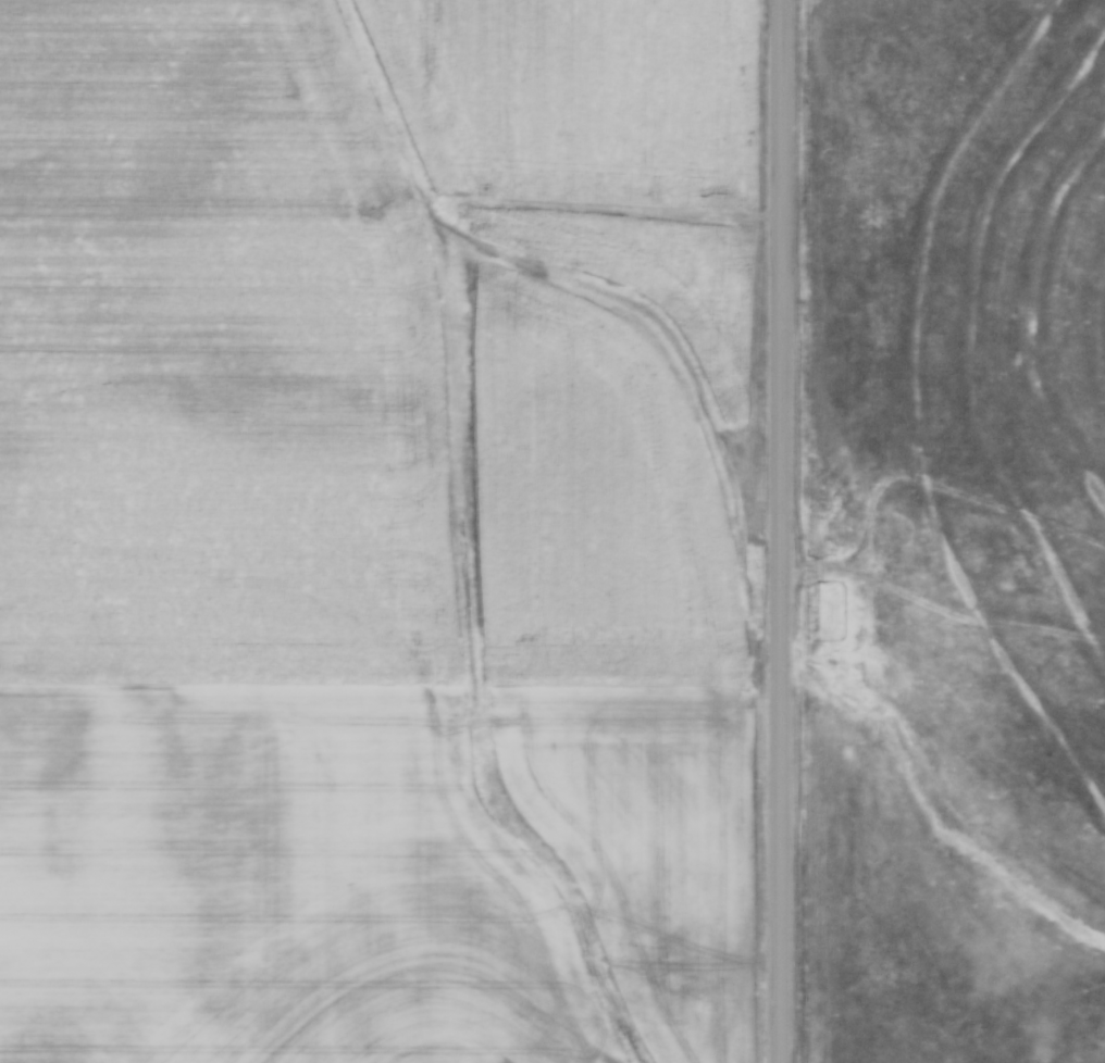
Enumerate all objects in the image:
road: (781, 531)

